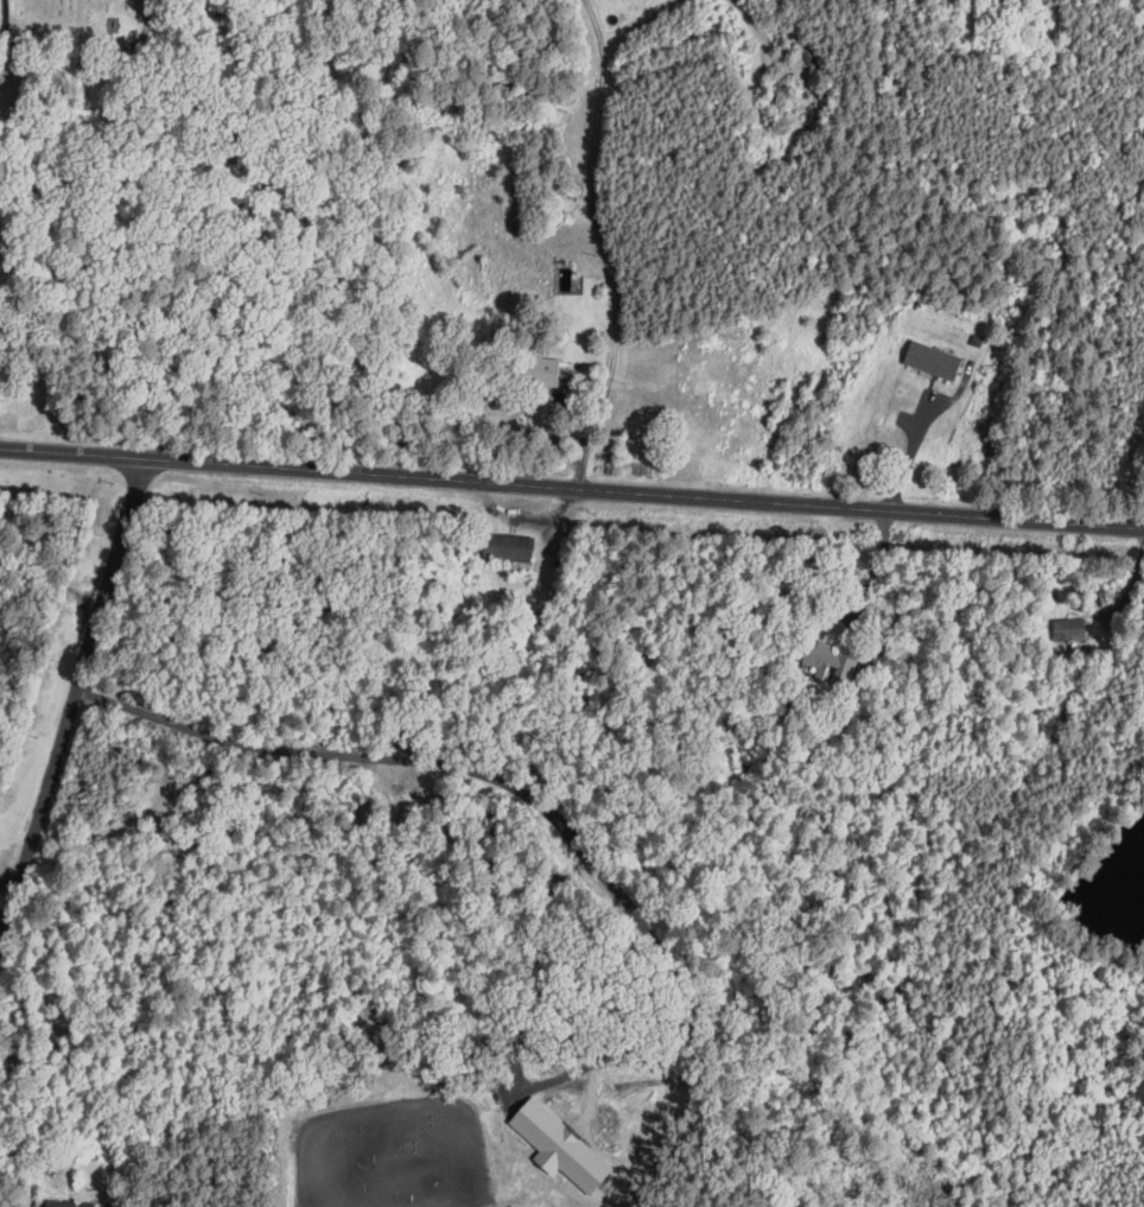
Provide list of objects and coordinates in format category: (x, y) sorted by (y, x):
road: (6, 19)
road: (755, 26)
road: (599, 37)
road: (94, 47)
building: (808, 57)
building: (807, 82)
building: (828, 94)
building: (560, 196)
road: (598, 229)
building: (561, 260)
building: (977, 339)
building: (933, 358)
building: (533, 370)
road: (913, 449)
road: (571, 487)
building: (508, 547)
road: (873, 568)
road: (1136, 592)
building: (1068, 628)
building: (830, 662)
road: (68, 690)
road: (577, 827)
building: (559, 1145)
building: (69, 1203)

